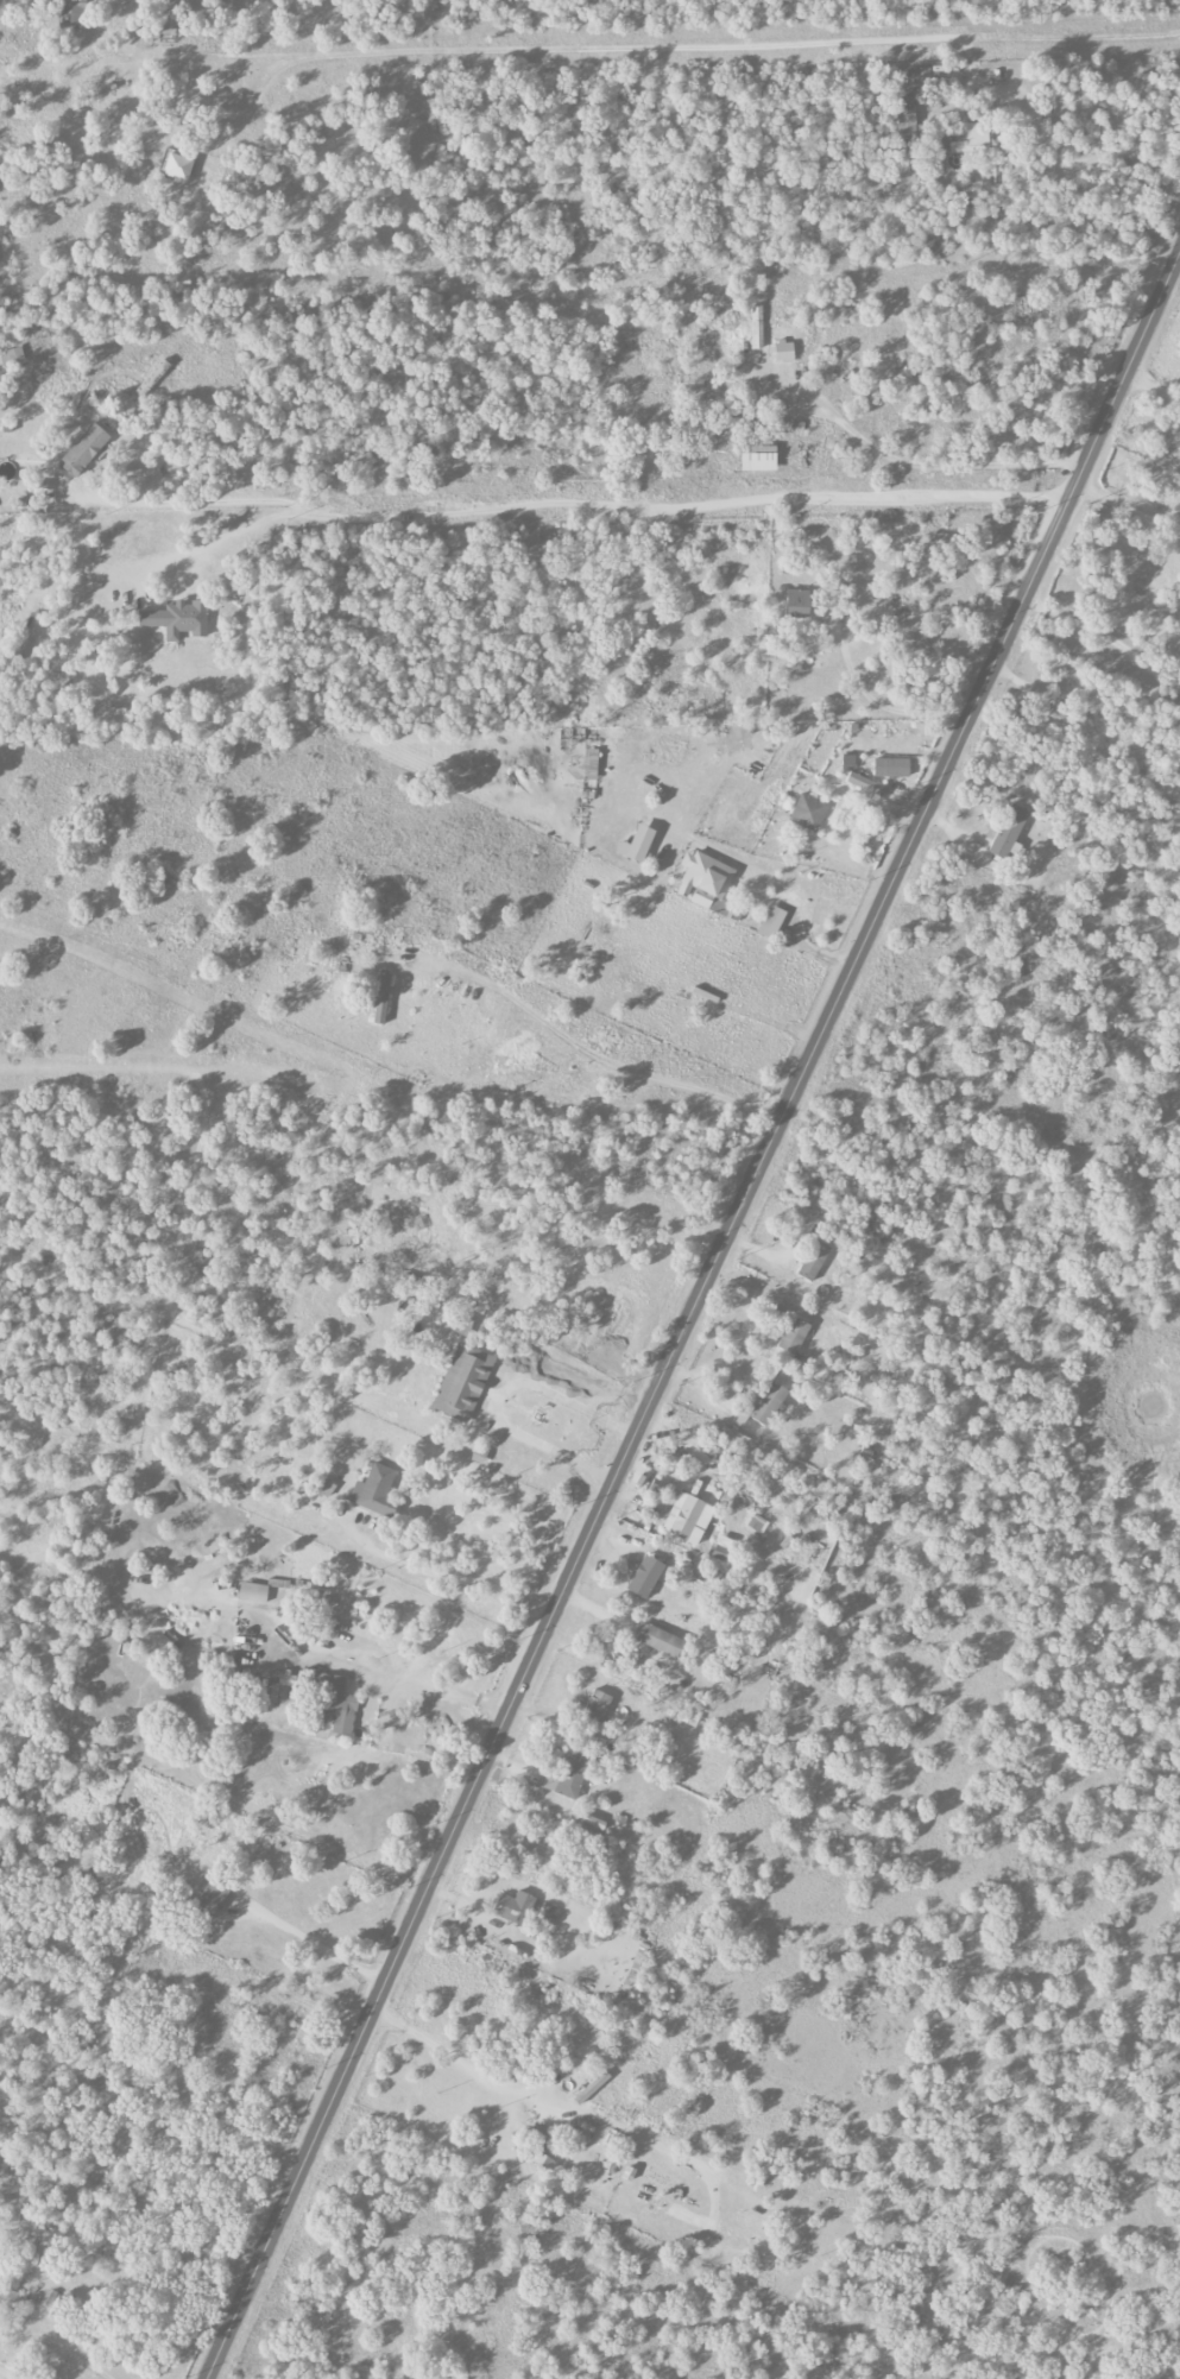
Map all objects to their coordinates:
building: (70, 12)
road: (694, 45)
building: (921, 76)
building: (905, 119)
building: (963, 139)
building: (177, 168)
building: (757, 327)
building: (783, 352)
building: (83, 450)
building: (757, 460)
road: (934, 466)
road: (573, 505)
road: (1128, 507)
road: (228, 536)
building: (797, 604)
building: (177, 619)
road: (1106, 633)
road: (879, 706)
building: (111, 714)
building: (847, 762)
building: (890, 768)
building: (865, 784)
road: (753, 795)
building: (807, 813)
building: (1009, 833)
road: (639, 839)
building: (636, 845)
building: (706, 882)
building: (770, 923)
road: (978, 938)
road: (1042, 946)
building: (381, 996)
road: (554, 1050)
building: (812, 1260)
road: (690, 1315)
building: (793, 1336)
building: (462, 1383)
road: (499, 1400)
building: (762, 1406)
building: (478, 1456)
building: (373, 1489)
building: (687, 1519)
building: (757, 1525)
building: (721, 1550)
building: (644, 1577)
road: (455, 1578)
building: (252, 1592)
building: (657, 1640)
building: (597, 1705)
building: (337, 1706)
building: (688, 1718)
building: (210, 1899)
building: (515, 1908)
road: (317, 1945)
road: (551, 2114)
road: (77, 2358)
road: (6, 2375)

